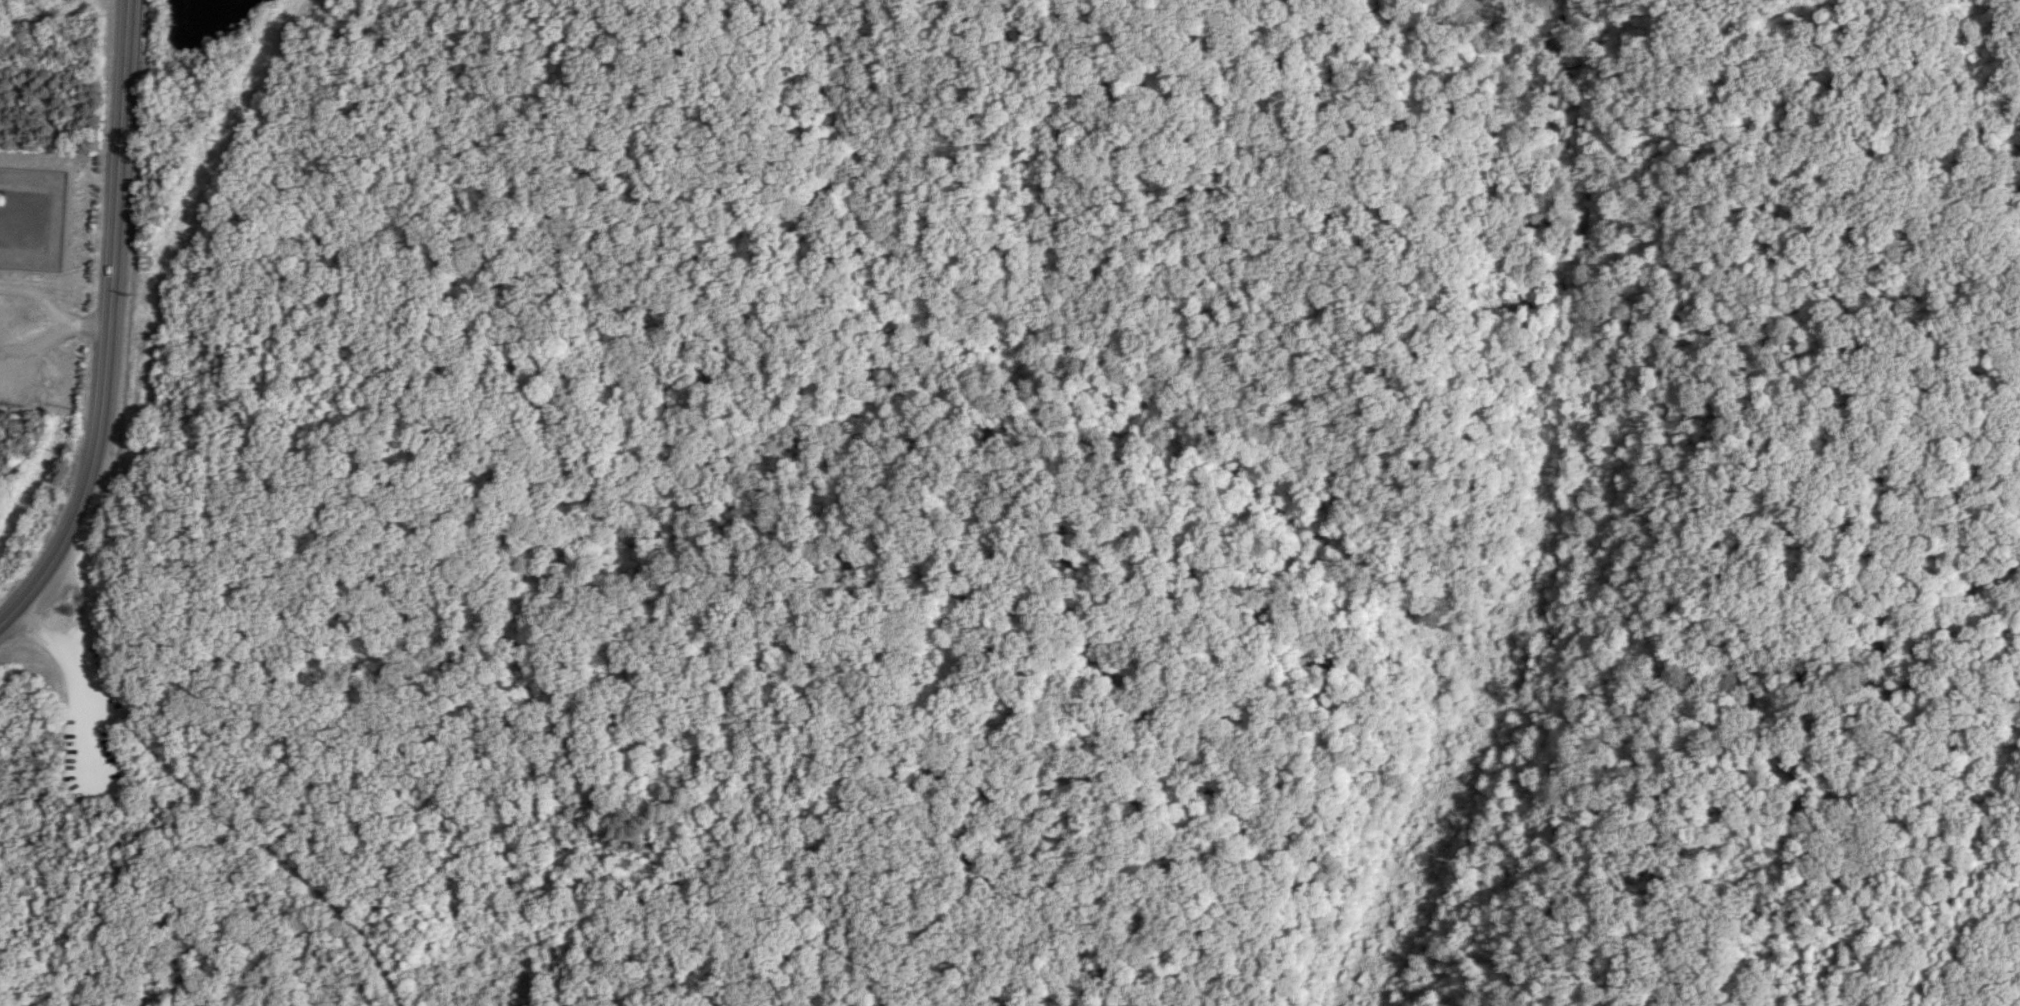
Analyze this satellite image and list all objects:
road: (1944, 90)
road: (122, 119)
road: (1318, 124)
road: (38, 296)
road: (55, 334)
road: (370, 379)
road: (96, 445)
road: (92, 593)
road: (46, 635)
road: (92, 716)
road: (107, 716)
parking lot: (90, 723)
road: (273, 850)

